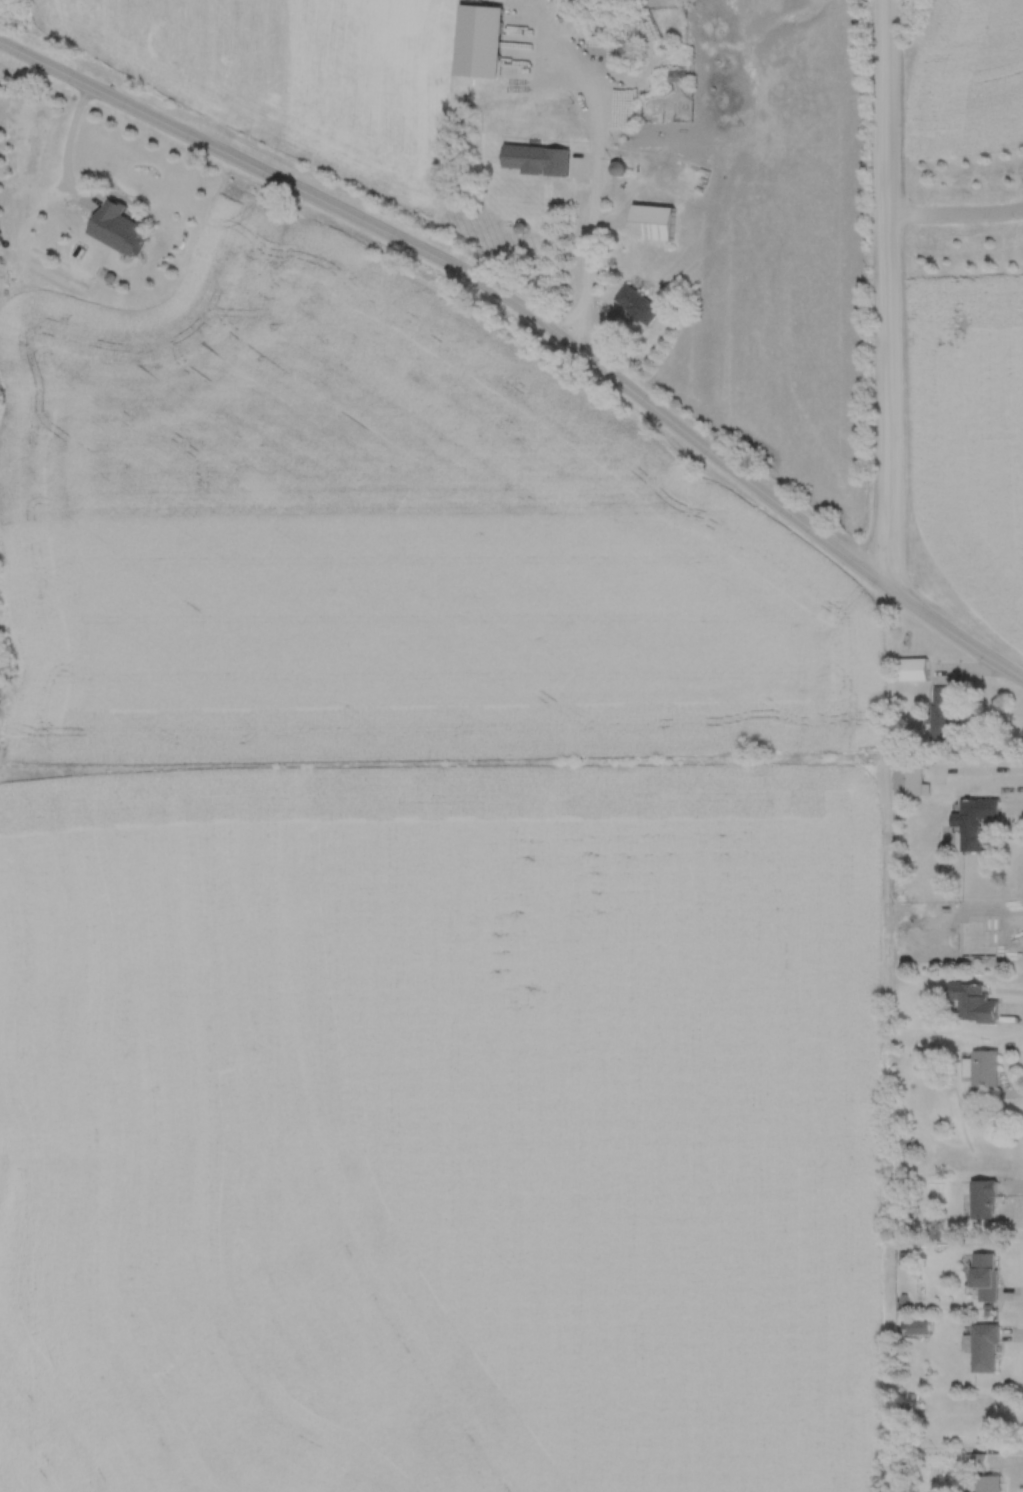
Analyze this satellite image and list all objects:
building: (544, 48)
building: (626, 53)
crop: (963, 79)
building: (626, 110)
building: (541, 135)
road: (65, 146)
building: (616, 168)
road: (594, 189)
road: (955, 213)
building: (651, 222)
building: (116, 227)
road: (888, 297)
building: (635, 304)
road: (539, 318)
crop: (969, 437)
building: (911, 669)
building: (941, 714)
building: (974, 824)
building: (984, 936)
building: (981, 1068)
building: (981, 1199)
building: (982, 1276)
building: (915, 1327)
building: (983, 1348)
building: (973, 1461)
building: (988, 1483)

